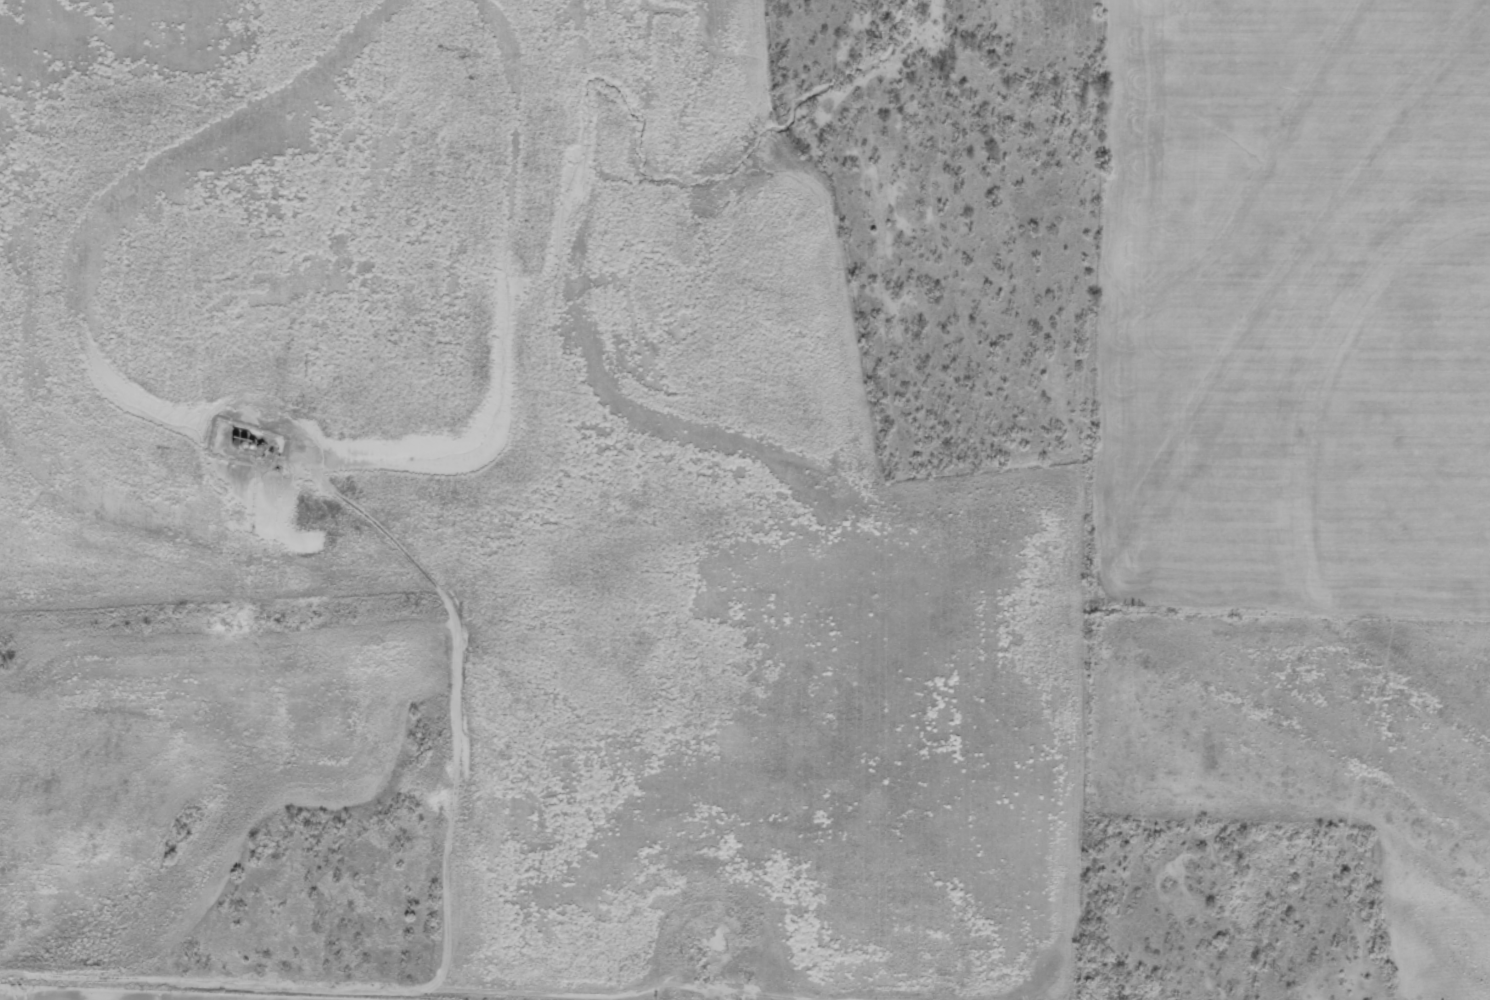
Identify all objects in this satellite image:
road: (400, 988)

